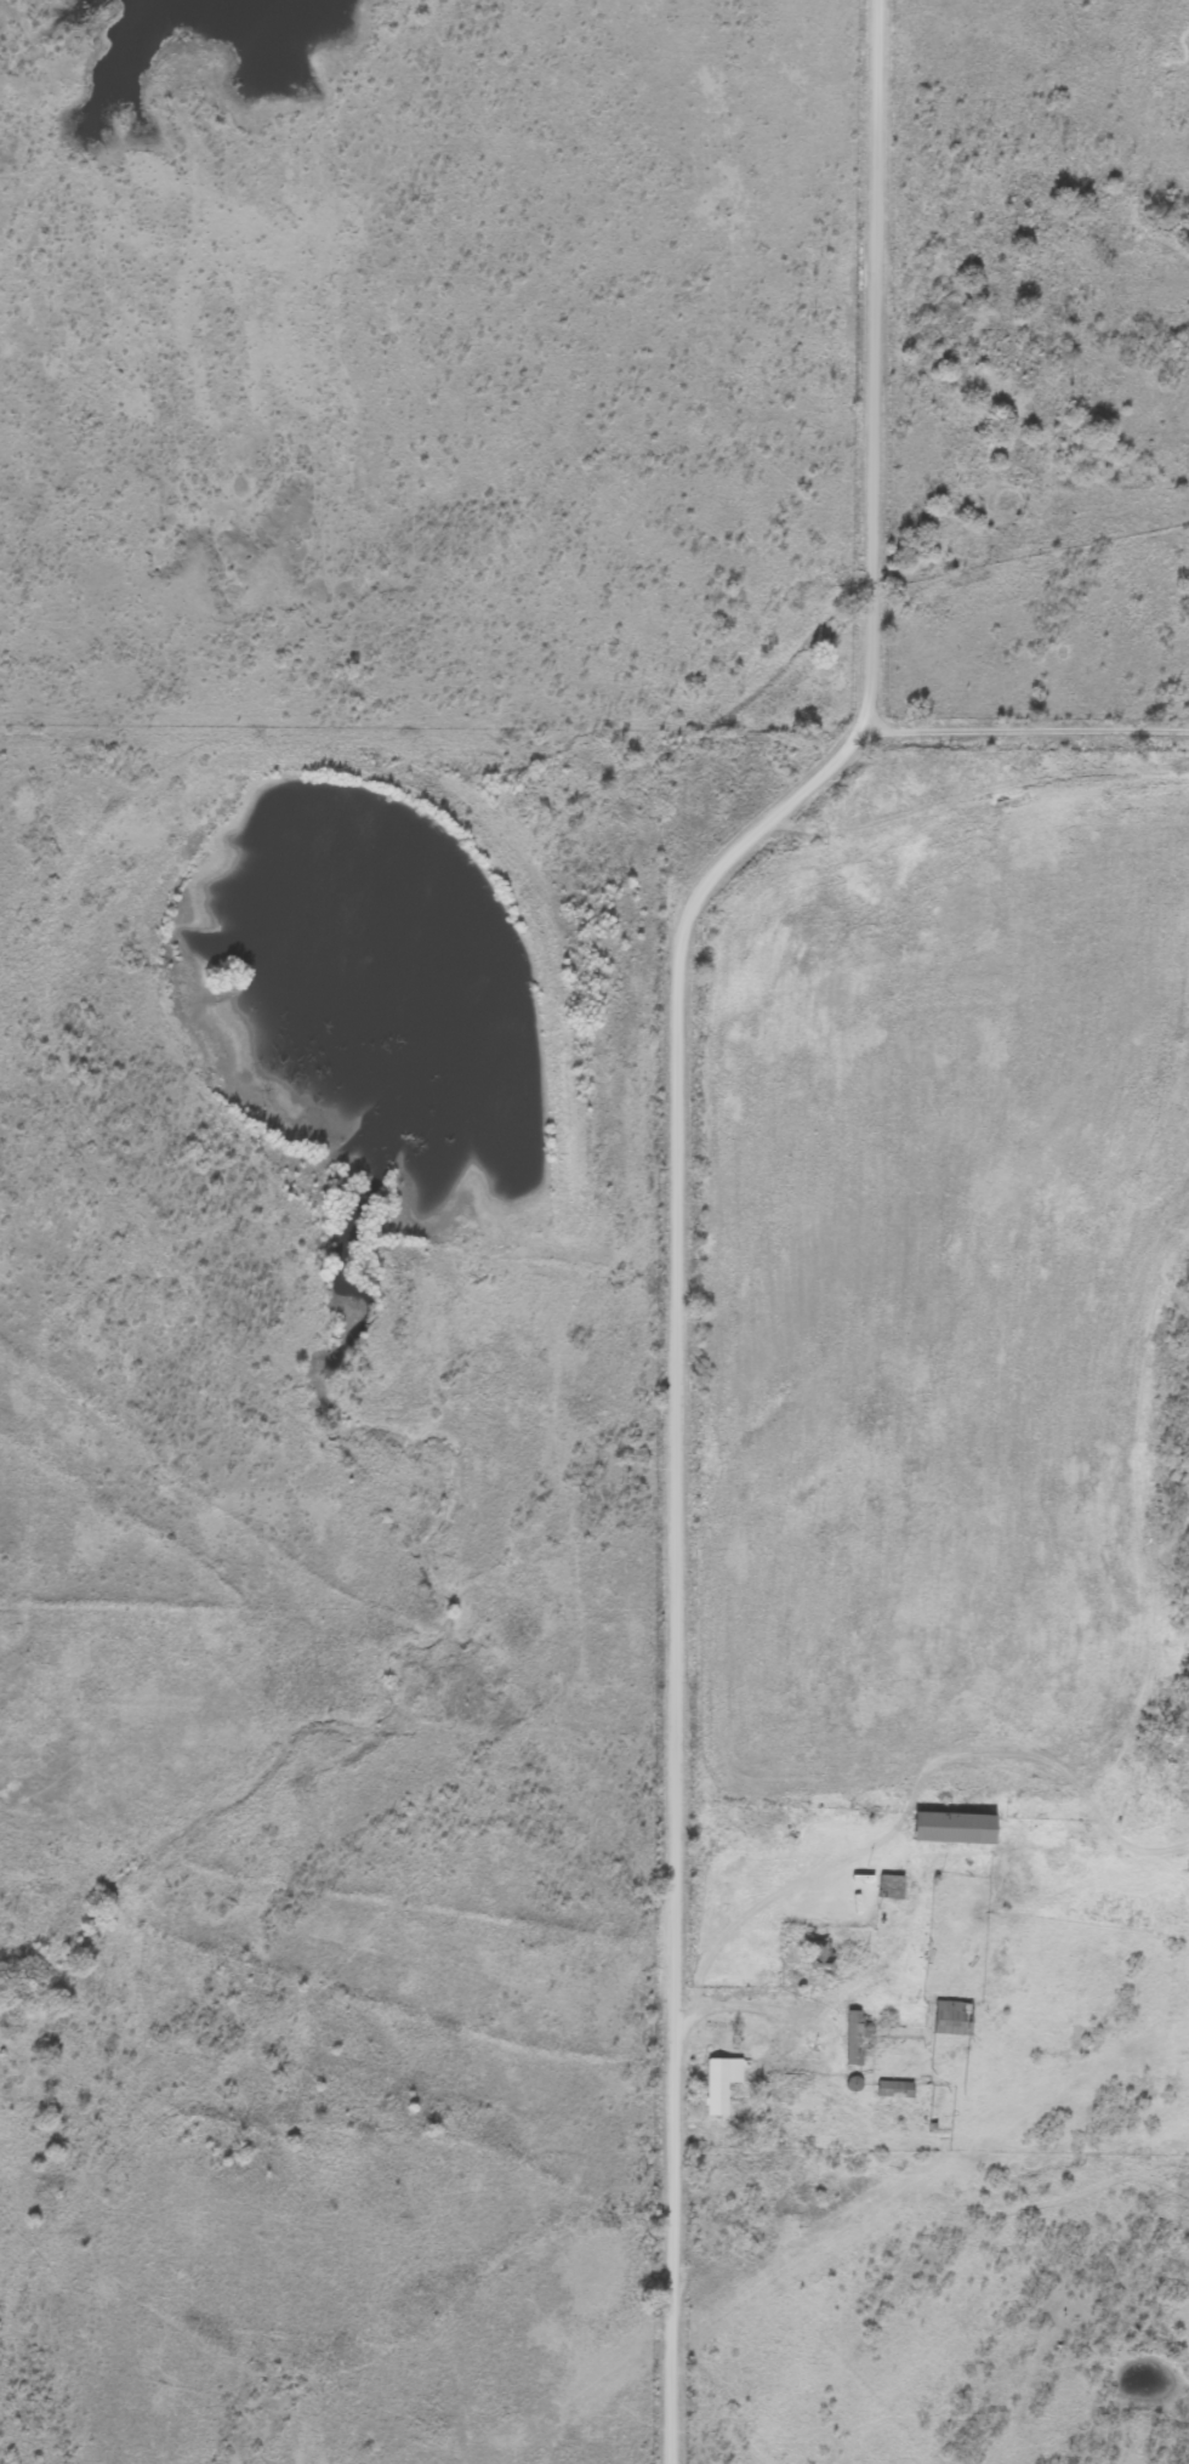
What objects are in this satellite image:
road: (682, 1197)
building: (951, 1827)
building: (888, 1885)
building: (818, 1954)
building: (950, 2016)
road: (829, 2027)
building: (853, 2036)
building: (718, 2083)
building: (893, 2088)

